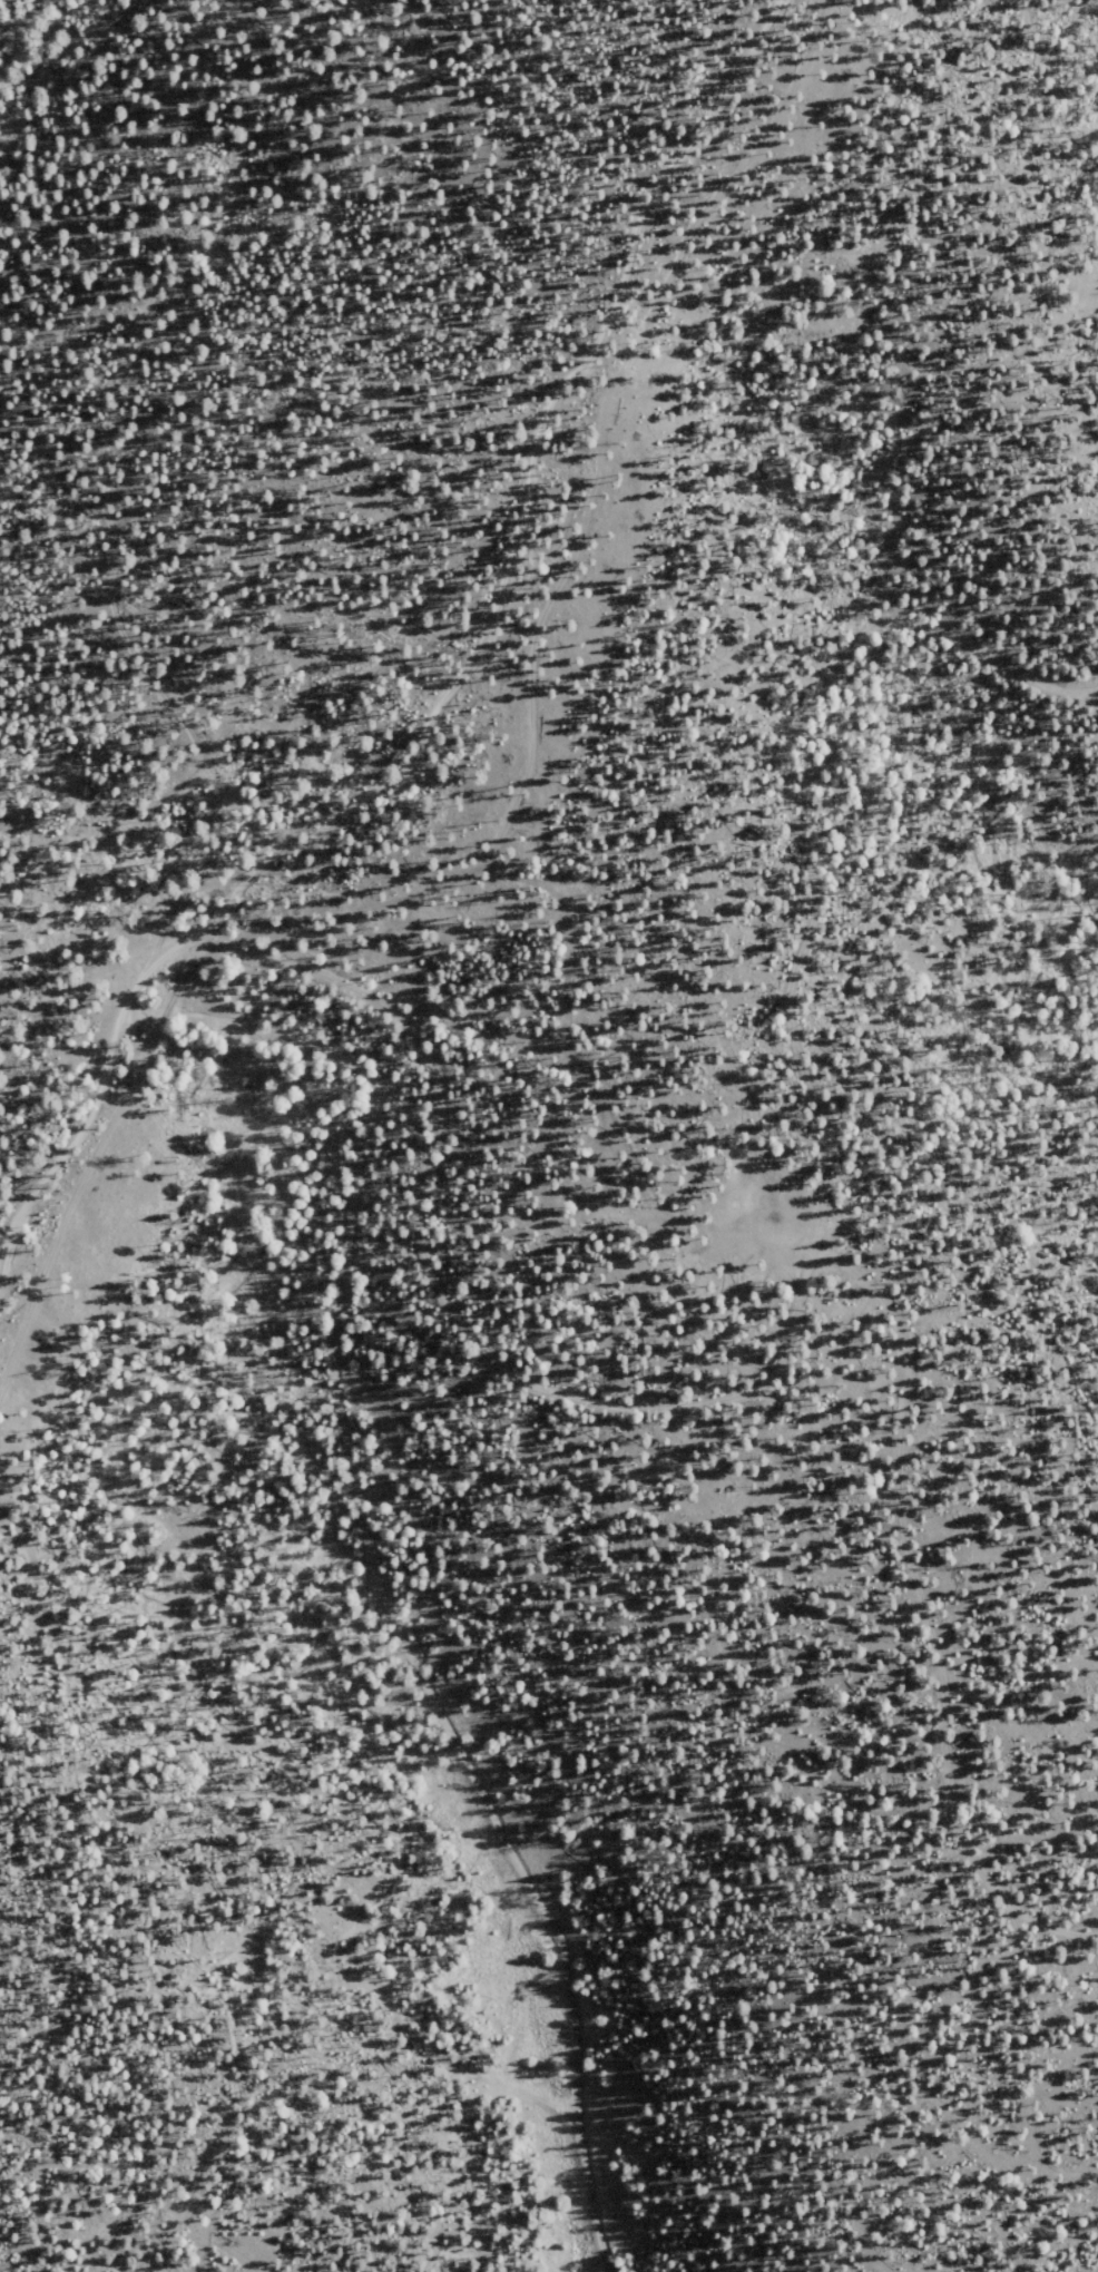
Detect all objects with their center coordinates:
road: (89, 451)
road: (501, 601)
road: (826, 908)
road: (58, 1247)

